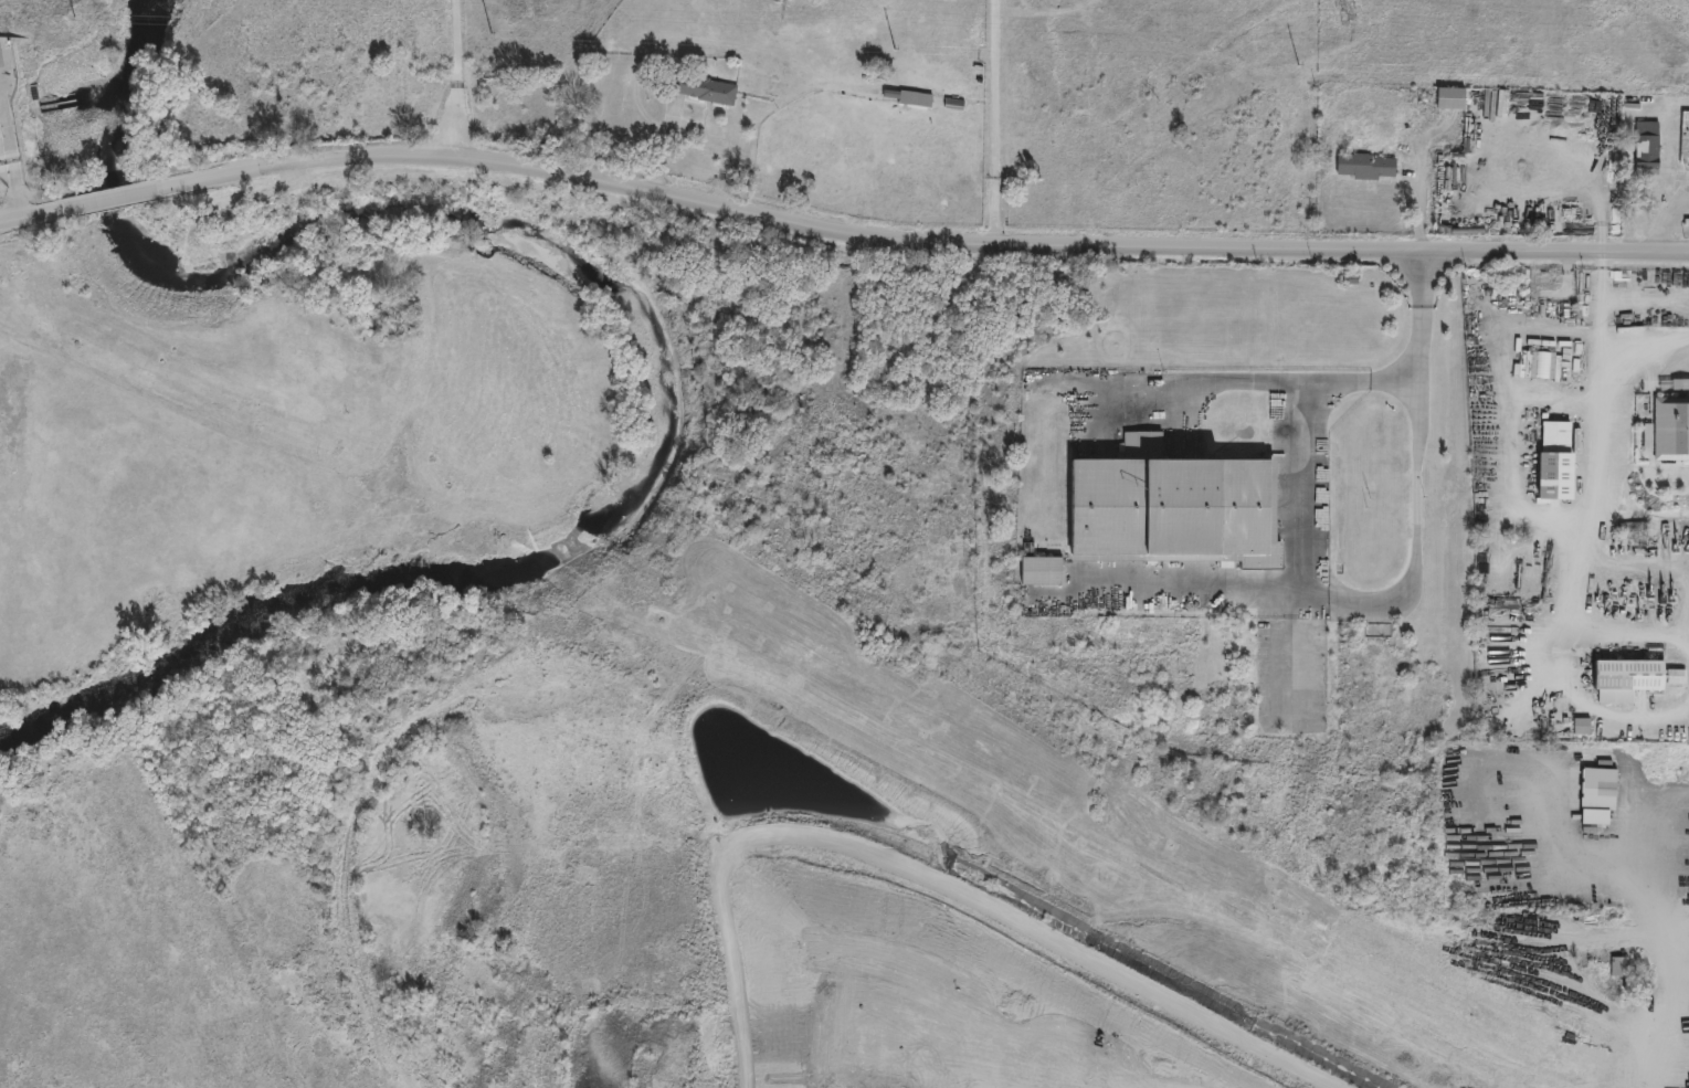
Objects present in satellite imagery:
power tower: (1342, 14)
road: (452, 76)
road: (997, 122)
building: (0, 134)
road: (12, 162)
road: (136, 196)
road: (20, 219)
road: (1670, 228)
road: (954, 243)
road: (1601, 342)
road: (1202, 382)
building: (1670, 430)
road: (1299, 432)
building: (1552, 461)
building: (1185, 509)
road: (1573, 543)
building: (1047, 570)
road: (1411, 575)
road: (1688, 640)
building: (1626, 675)
building: (1675, 676)
road: (1309, 705)
road: (1595, 708)
building: (1596, 789)
road: (1561, 944)
building: (1617, 966)
building: (1627, 1005)
road: (1667, 1034)

